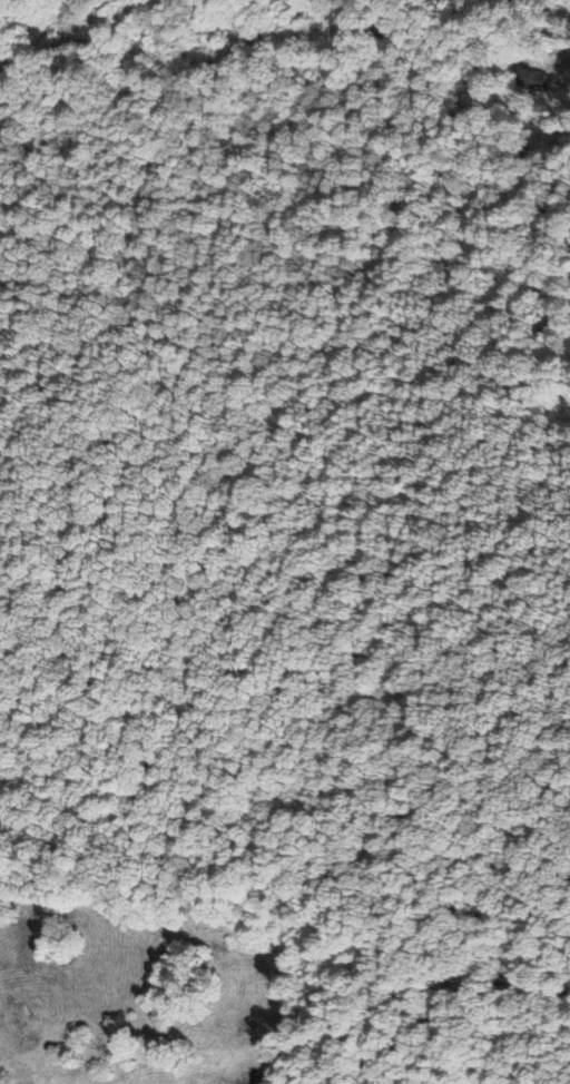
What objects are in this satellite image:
building: (9, 73)

